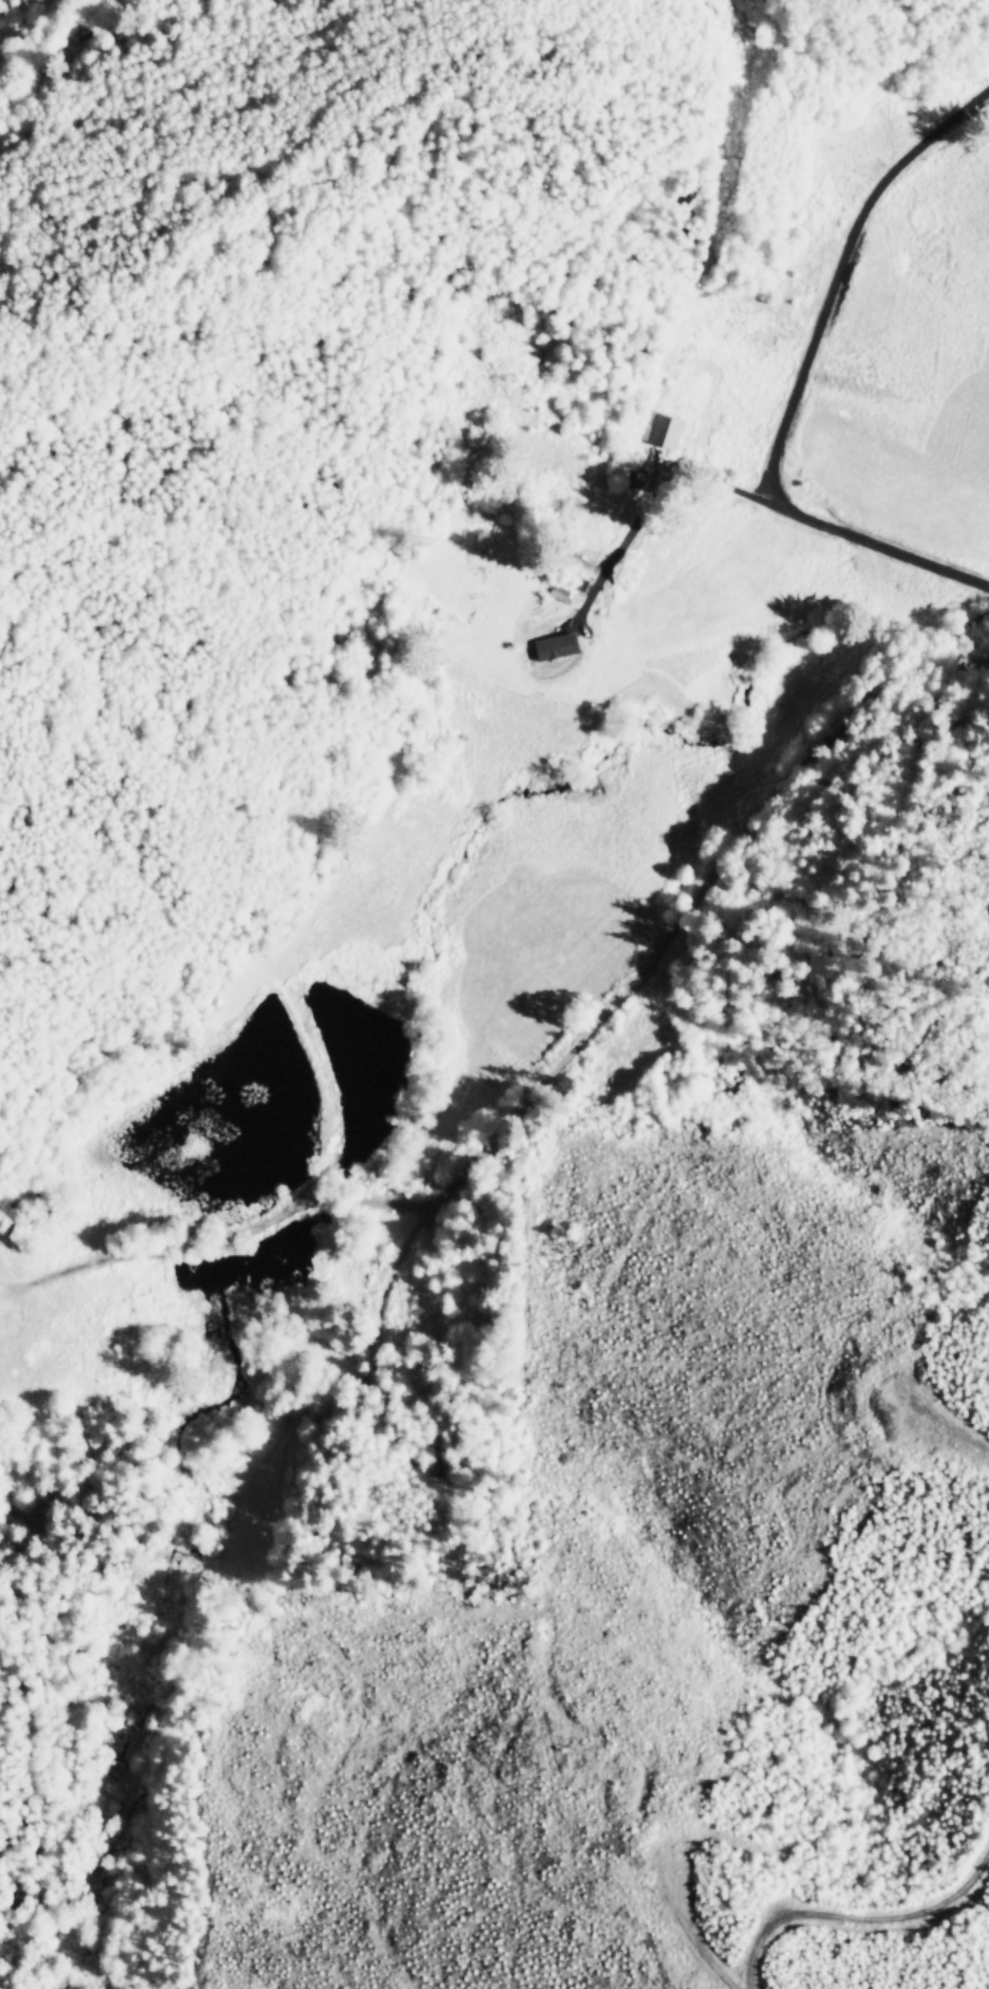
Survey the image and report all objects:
road: (800, 379)
building: (668, 433)
road: (716, 475)
road: (643, 519)
building: (489, 550)
building: (560, 642)
road: (854, 1898)

